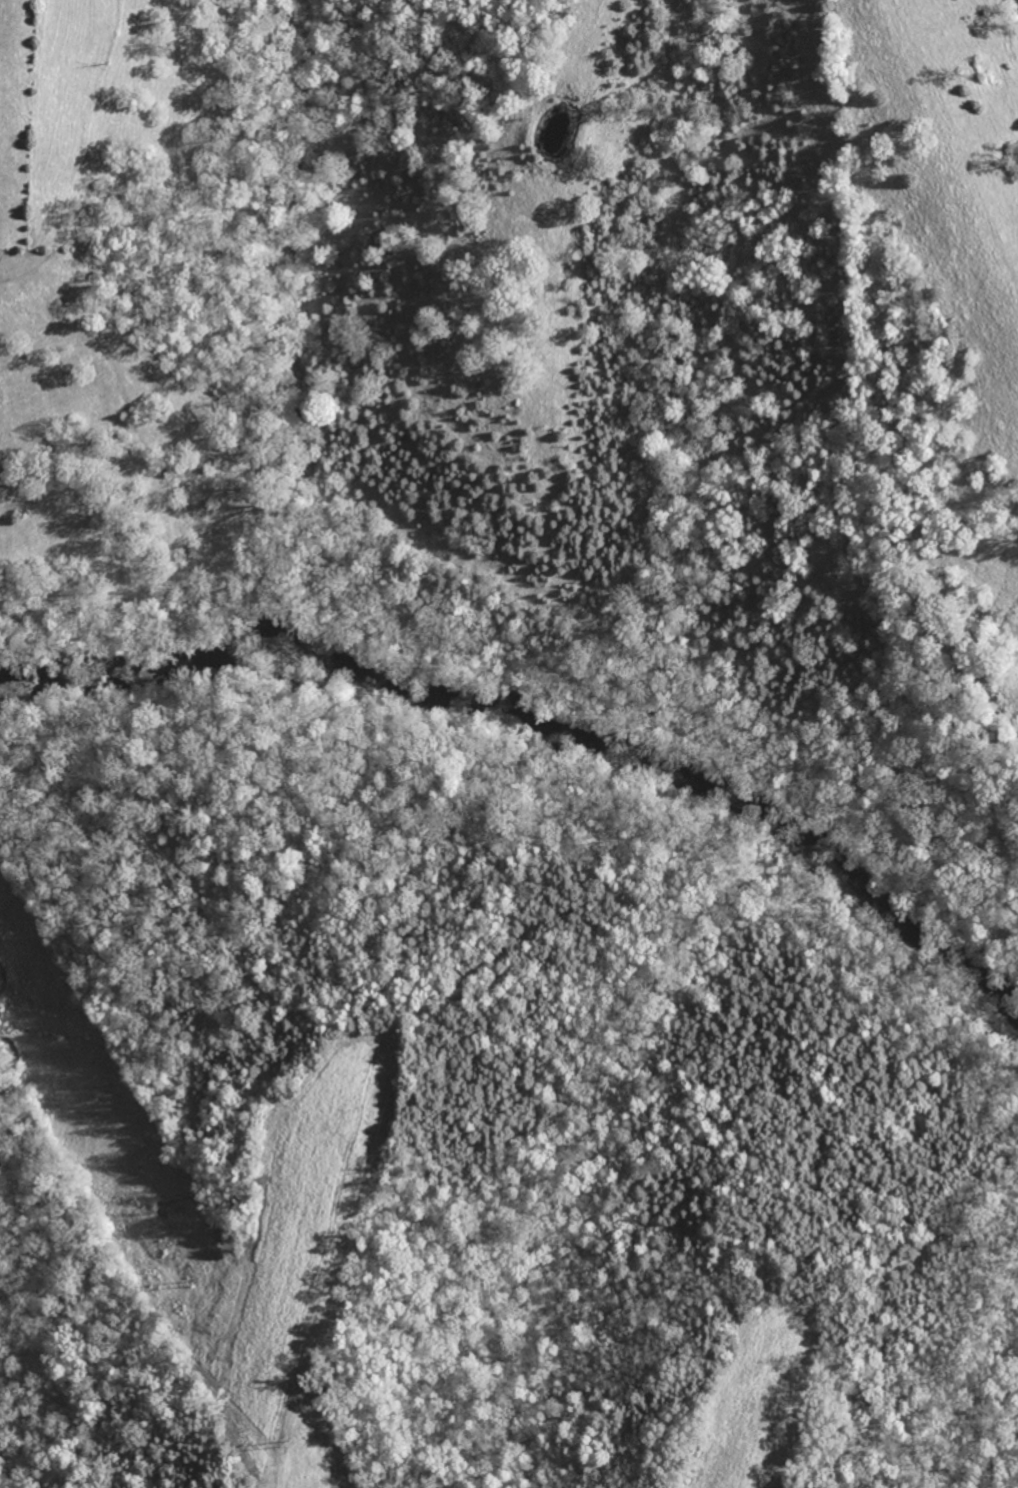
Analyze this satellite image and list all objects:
power tower: (195, 1278)

